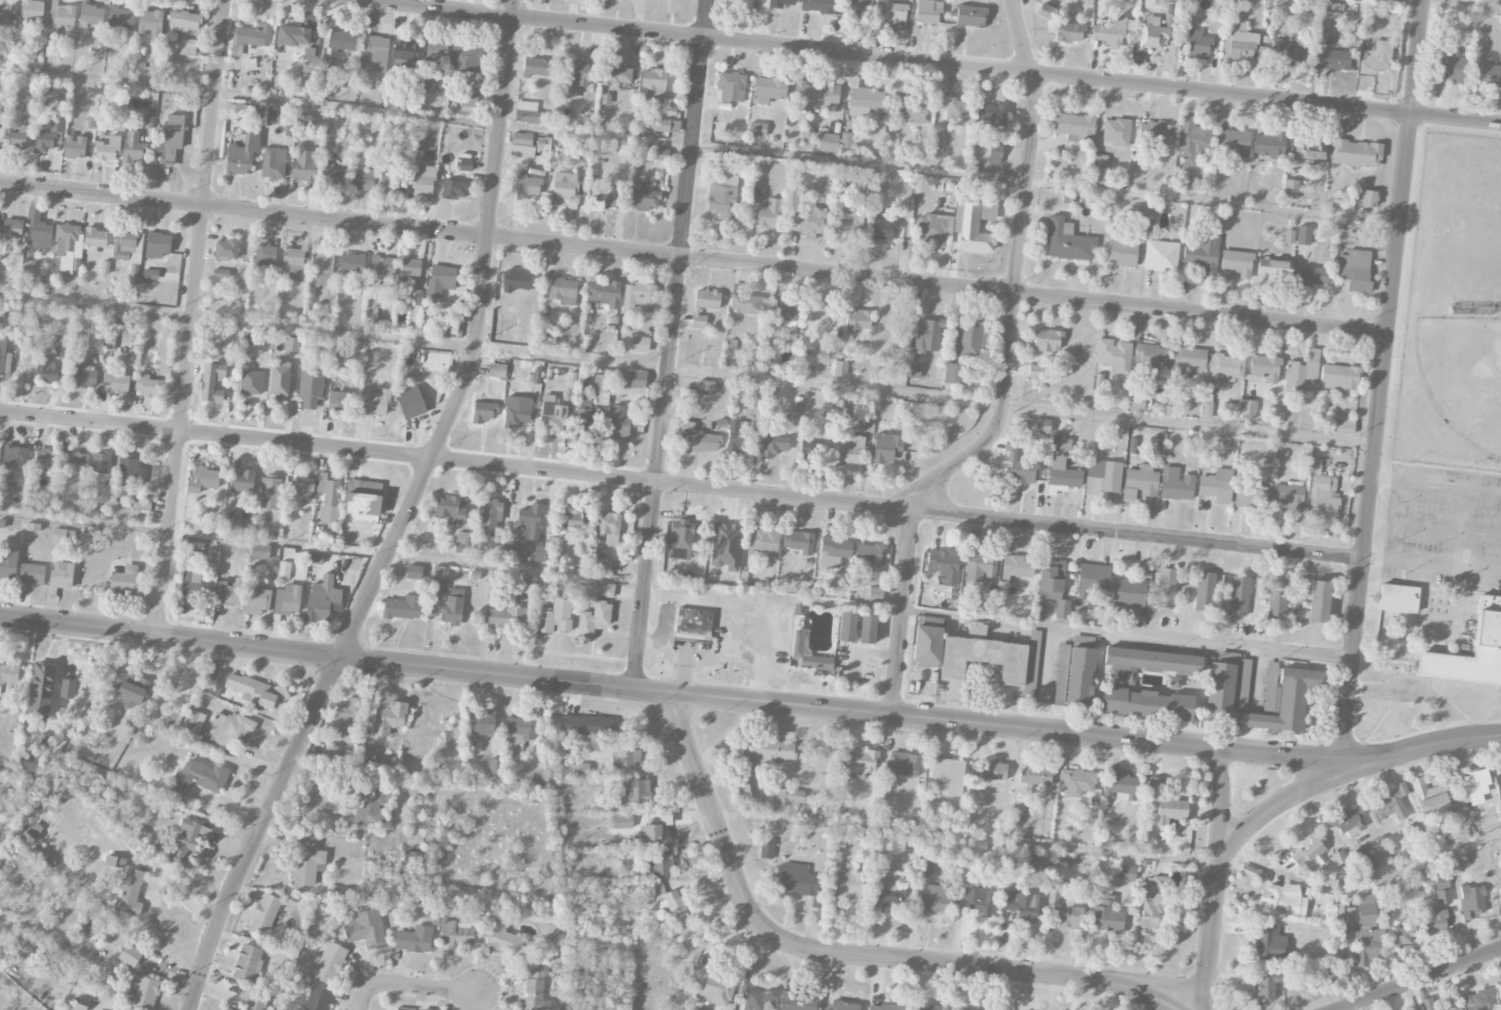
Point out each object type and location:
building: (735, 2)
road: (1404, 2)
building: (780, 3)
building: (817, 6)
building: (859, 8)
building: (32, 9)
building: (7, 11)
building: (894, 11)
building: (928, 11)
building: (1046, 12)
building: (91, 14)
building: (970, 15)
building: (60, 17)
building: (120, 18)
building: (1186, 19)
building: (184, 21)
building: (150, 25)
building: (877, 26)
building: (1070, 32)
building: (1109, 32)
building: (253, 35)
road: (692, 35)
building: (293, 36)
road: (1019, 36)
building: (1147, 39)
building: (344, 41)
building: (1239, 44)
building: (1198, 45)
building: (187, 47)
building: (375, 52)
building: (435, 53)
building: (405, 54)
building: (1289, 54)
building: (465, 58)
building: (1377, 59)
building: (1333, 60)
building: (1451, 66)
building: (323, 67)
building: (538, 67)
road: (1033, 72)
building: (306, 74)
building: (616, 75)
building: (1487, 75)
building: (574, 78)
building: (654, 84)
building: (731, 87)
building: (769, 89)
building: (900, 95)
building: (814, 96)
building: (469, 98)
road: (1268, 98)
building: (30, 104)
building: (955, 109)
building: (248, 110)
building: (911, 112)
building: (529, 113)
building: (993, 115)
building: (662, 124)
building: (1071, 125)
building: (757, 129)
building: (1116, 132)
building: (1155, 133)
building: (47, 136)
building: (18, 137)
building: (346, 137)
building: (171, 138)
building: (937, 140)
building: (1191, 140)
building: (1232, 140)
building: (847, 142)
building: (828, 143)
building: (1269, 143)
building: (522, 144)
building: (543, 144)
building: (74, 147)
building: (134, 147)
road: (699, 147)
building: (107, 148)
building: (624, 149)
building: (581, 150)
building: (1309, 152)
building: (1354, 153)
building: (658, 154)
building: (994, 154)
building: (242, 155)
building: (415, 155)
building: (273, 162)
building: (465, 165)
building: (303, 166)
building: (1098, 169)
building: (329, 173)
building: (867, 178)
building: (361, 180)
building: (388, 180)
building: (423, 182)
building: (525, 186)
building: (563, 187)
building: (454, 189)
building: (1290, 189)
building: (722, 194)
building: (756, 195)
building: (643, 196)
building: (603, 198)
building: (1369, 198)
building: (987, 211)
building: (768, 214)
building: (1139, 214)
building: (808, 222)
building: (847, 225)
building: (12, 228)
building: (882, 229)
building: (933, 229)
building: (970, 229)
building: (38, 231)
building: (1303, 235)
building: (94, 240)
building: (1067, 241)
building: (158, 244)
building: (68, 247)
building: (128, 249)
building: (226, 249)
building: (1161, 250)
building: (1121, 253)
building: (1201, 254)
building: (265, 255)
road: (694, 255)
building: (1237, 261)
building: (293, 262)
building: (352, 263)
building: (382, 266)
building: (410, 267)
building: (28, 269)
building: (1273, 269)
building: (323, 270)
building: (1355, 270)
building: (220, 273)
building: (150, 274)
building: (1312, 276)
building: (516, 280)
building: (440, 281)
building: (563, 290)
building: (604, 293)
building: (639, 297)
building: (707, 299)
building: (747, 304)
building: (781, 312)
road: (190, 316)
road: (1011, 316)
building: (699, 320)
building: (857, 320)
building: (928, 335)
building: (1047, 340)
building: (971, 341)
road: (477, 342)
building: (95, 343)
building: (291, 344)
building: (639, 344)
road: (670, 344)
building: (64, 350)
building: (1114, 355)
building: (1150, 357)
building: (4, 358)
building: (1188, 358)
building: (443, 359)
building: (1227, 367)
building: (1265, 368)
road: (688, 369)
building: (840, 369)
building: (46, 370)
building: (497, 370)
building: (913, 371)
building: (1035, 371)
building: (1301, 372)
building: (953, 373)
building: (1051, 373)
building: (83, 376)
building: (1338, 377)
building: (279, 380)
building: (636, 380)
building: (114, 382)
building: (212, 382)
building: (251, 382)
building: (601, 382)
building: (148, 384)
road: (1383, 384)
building: (310, 386)
building: (705, 387)
building: (339, 400)
building: (756, 400)
building: (585, 401)
building: (374, 402)
building: (411, 402)
building: (1136, 402)
building: (1248, 409)
building: (1207, 410)
building: (517, 411)
building: (483, 412)
building: (867, 412)
building: (552, 416)
building: (587, 423)
building: (619, 423)
building: (1042, 426)
building: (1344, 427)
building: (737, 435)
building: (698, 439)
building: (775, 444)
building: (1062, 444)
building: (886, 447)
building: (812, 450)
building: (849, 451)
road: (447, 457)
building: (46, 458)
building: (76, 462)
building: (1018, 464)
building: (14, 465)
building: (130, 471)
building: (1102, 476)
building: (1064, 477)
building: (203, 479)
building: (1142, 479)
building: (242, 481)
building: (1176, 484)
building: (1216, 485)
road: (1437, 485)
building: (300, 491)
building: (270, 492)
building: (1322, 492)
building: (1251, 495)
building: (328, 496)
building: (363, 497)
building: (1288, 497)
building: (142, 503)
building: (449, 509)
road: (903, 510)
building: (490, 516)
building: (569, 519)
building: (529, 521)
building: (231, 524)
building: (608, 527)
road: (193, 531)
road: (1138, 535)
building: (60, 536)
building: (680, 539)
building: (763, 541)
building: (463, 542)
building: (798, 542)
building: (726, 546)
building: (834, 551)
building: (260, 552)
building: (870, 553)
building: (540, 554)
building: (315, 558)
road: (1432, 561)
building: (8, 564)
building: (601, 564)
building: (943, 566)
building: (980, 567)
building: (1016, 567)
building: (283, 570)
building: (413, 571)
building: (31, 574)
building: (61, 575)
building: (440, 577)
building: (124, 580)
building: (541, 581)
building: (1092, 582)
building: (526, 583)
building: (193, 586)
building: (1053, 586)
building: (1165, 588)
building: (1130, 589)
building: (606, 590)
building: (1204, 591)
building: (229, 592)
building: (1238, 595)
building: (877, 596)
building: (1398, 598)
building: (287, 599)
building: (322, 599)
building: (1277, 599)
building: (257, 600)
building: (1318, 601)
building: (403, 607)
building: (452, 607)
road: (901, 613)
building: (555, 616)
building: (507, 617)
building: (594, 619)
road: (997, 620)
building: (1487, 623)
building: (693, 625)
building: (847, 626)
building: (867, 628)
building: (976, 628)
road: (169, 634)
building: (796, 641)
building: (927, 646)
road: (721, 651)
building: (984, 658)
building: (1032, 662)
building: (1148, 663)
road: (690, 672)
building: (9, 674)
building: (1061, 674)
road: (1046, 678)
building: (1080, 678)
building: (1174, 682)
building: (1270, 685)
building: (67, 688)
building: (130, 689)
building: (40, 690)
building: (255, 690)
road: (1419, 695)
building: (1226, 697)
building: (1146, 704)
building: (345, 714)
building: (16, 716)
road: (921, 718)
building: (389, 719)
building: (192, 725)
building: (479, 725)
building: (587, 725)
building: (230, 730)
building: (518, 730)
road: (61, 732)
building: (45, 738)
building: (767, 751)
building: (335, 754)
building: (365, 754)
building: (626, 756)
building: (862, 760)
building: (903, 763)
building: (495, 766)
building: (579, 769)
building: (989, 771)
building: (1034, 775)
building: (198, 777)
building: (946, 777)
building: (538, 780)
building: (1077, 781)
building: (1497, 783)
building: (1121, 787)
building: (1473, 787)
building: (741, 789)
building: (637, 790)
building: (789, 796)
building: (1435, 796)
building: (609, 803)
building: (1165, 804)
building: (1389, 804)
building: (372, 806)
road: (1271, 806)
building: (1019, 807)
building: (1350, 822)
building: (1417, 826)
road: (258, 831)
building: (651, 833)
building: (28, 835)
road: (964, 836)
building: (184, 842)
building: (766, 849)
building: (411, 854)
building: (43, 856)
building: (1311, 856)
building: (1339, 858)
building: (1365, 858)
building: (115, 862)
building: (307, 862)
building: (1032, 862)
building: (661, 864)
building: (926, 865)
road: (1266, 867)
building: (1125, 873)
road: (1216, 877)
building: (800, 882)
building: (846, 883)
building: (1441, 885)
building: (130, 892)
building: (1500, 892)
building: (890, 893)
building: (934, 900)
building: (1471, 900)
building: (977, 902)
building: (1153, 902)
building: (1283, 902)
building: (673, 905)
building: (1023, 906)
building: (1061, 908)
building: (1334, 913)
building: (264, 914)
building: (1351, 914)
building: (1106, 915)
building: (1433, 921)
road: (573, 927)
building: (366, 929)
road: (721, 930)
building: (1368, 932)
building: (456, 934)
building: (1400, 937)
building: (414, 939)
building: (503, 940)
building: (1268, 940)
building: (131, 954)
road: (842, 955)
building: (248, 963)
building: (329, 963)
building: (1300, 970)
building: (1327, 970)
road: (1427, 977)
building: (1268, 984)
road: (411, 985)
building: (712, 987)
building: (1499, 991)
building: (144, 992)
building: (535, 992)
building: (755, 998)
building: (257, 999)
building: (316, 999)
building: (1481, 1000)
building: (799, 1001)
building: (1436, 1005)
building: (844, 1006)
building: (885, 1007)
building: (925, 1008)
road: (1347, 1008)
road: (1353, 1008)
building: (226, 1009)
building: (396, 1009)
building: (423, 1009)

